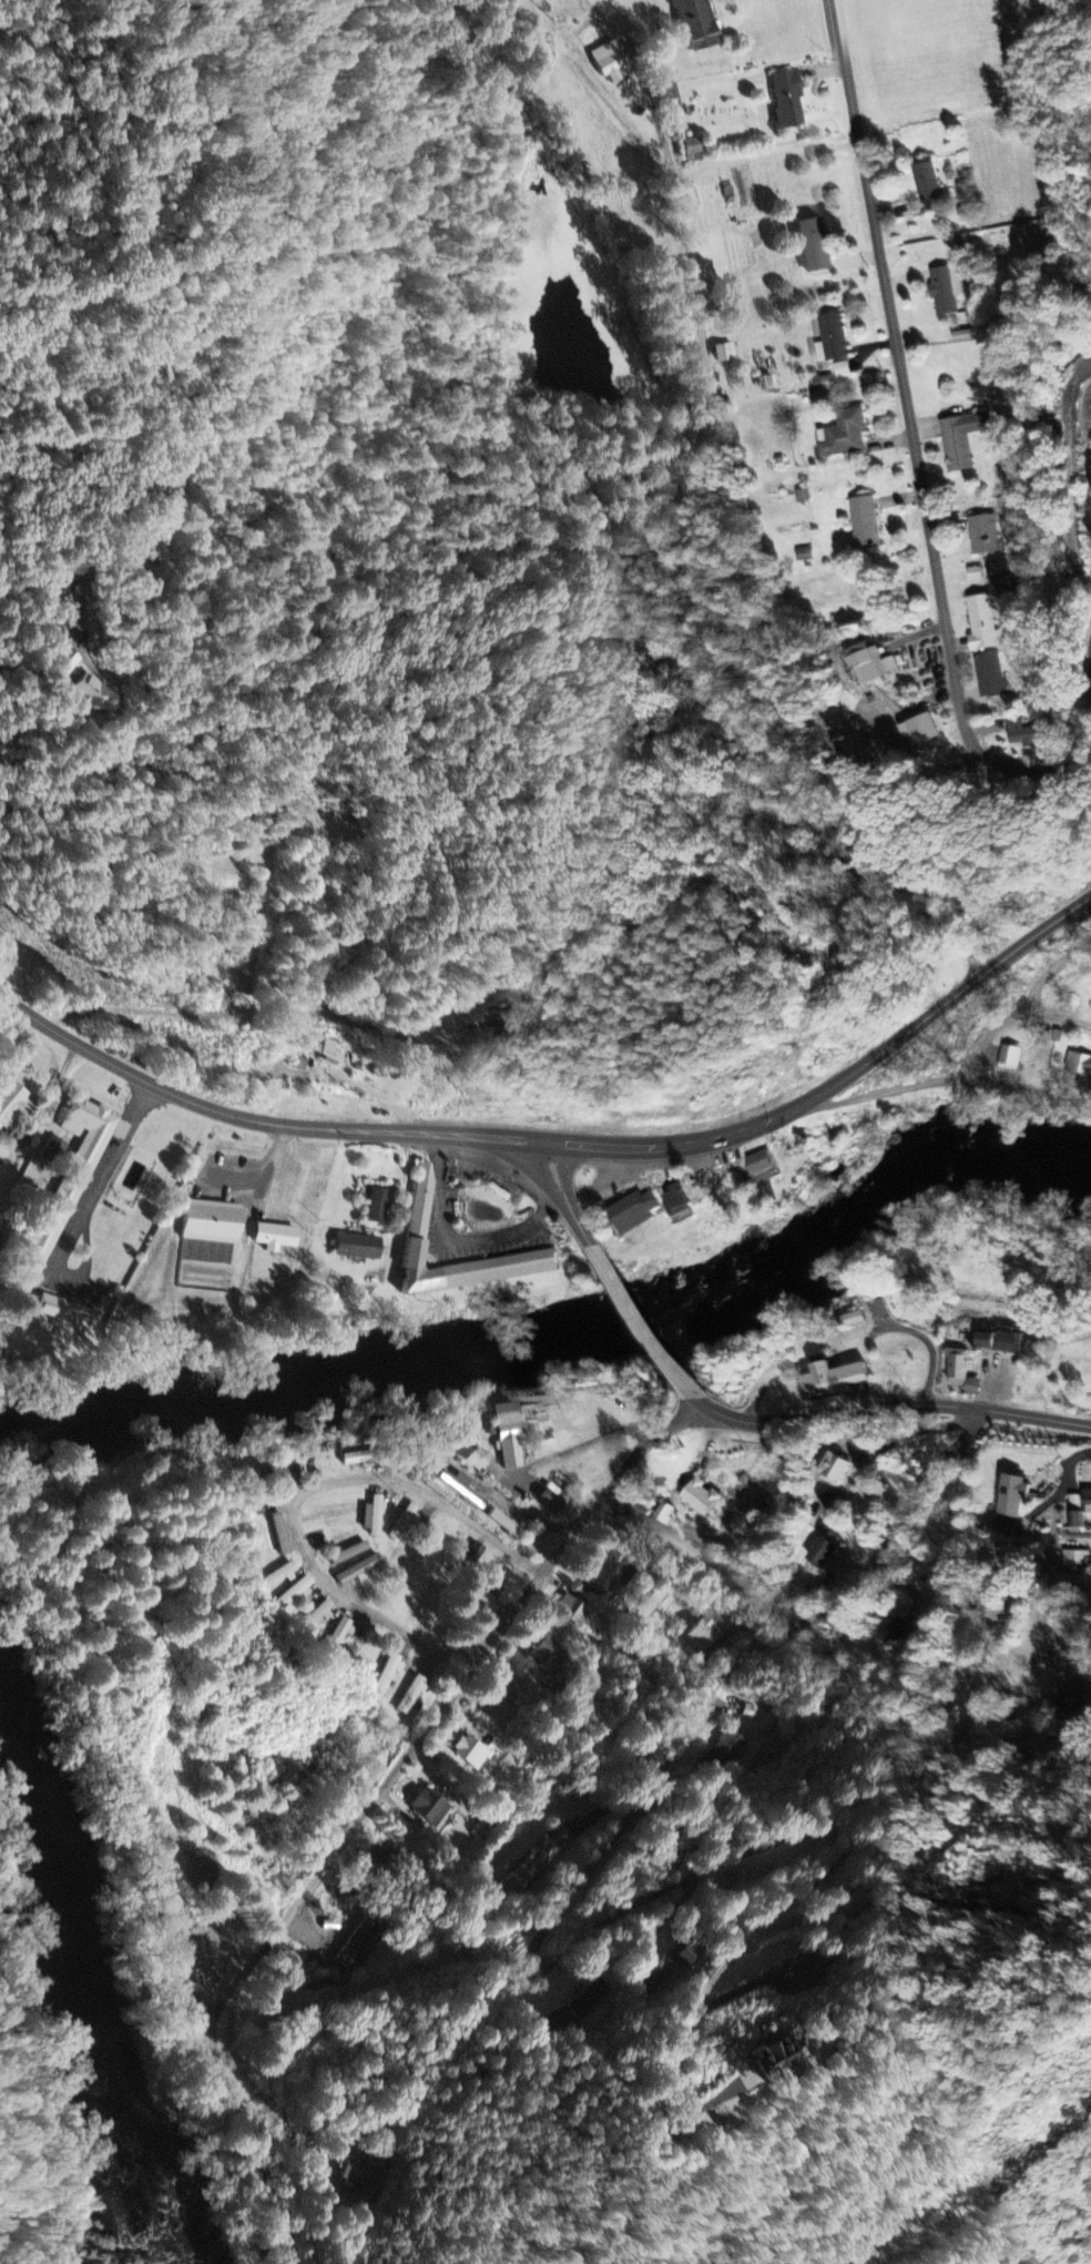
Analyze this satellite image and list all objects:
building: (694, 24)
building: (608, 62)
building: (673, 98)
building: (786, 101)
building: (692, 152)
building: (924, 183)
building: (812, 246)
building: (944, 291)
building: (960, 336)
building: (829, 339)
building: (724, 354)
building: (840, 370)
building: (840, 436)
building: (959, 440)
building: (1069, 450)
road: (912, 453)
building: (799, 497)
building: (861, 524)
building: (981, 535)
building: (803, 556)
park: (137, 560)
building: (972, 573)
building: (981, 625)
road: (1089, 657)
building: (64, 662)
building: (867, 664)
building: (989, 677)
building: (91, 697)
building: (918, 730)
building: (1023, 730)
building: (843, 962)
road: (1022, 1004)
road: (1056, 1016)
building: (480, 1021)
building: (333, 1052)
building: (1007, 1058)
building: (1077, 1066)
road: (945, 1076)
building: (10, 1104)
road: (567, 1143)
building: (53, 1150)
building: (758, 1167)
building: (69, 1179)
road: (558, 1190)
building: (673, 1200)
building: (376, 1207)
building: (418, 1212)
building: (630, 1214)
road: (84, 1216)
building: (207, 1222)
building: (273, 1238)
building: (355, 1248)
building: (901, 1293)
building: (65, 1313)
road: (634, 1313)
river: (568, 1320)
building: (849, 1320)
building: (997, 1342)
building: (957, 1371)
building: (827, 1378)
road: (692, 1397)
road: (893, 1404)
building: (507, 1435)
road: (585, 1440)
building: (460, 1444)
building: (434, 1470)
building: (829, 1470)
building: (286, 1472)
building: (460, 1490)
road: (304, 1491)
building: (697, 1496)
building: (1008, 1496)
building: (1084, 1498)
building: (550, 1502)
building: (662, 1513)
building: (371, 1517)
building: (401, 1523)
building: (504, 1525)
building: (278, 1535)
building: (818, 1553)
building: (347, 1554)
road: (1043, 1557)
building: (1072, 1559)
building: (277, 1576)
building: (610, 1577)
building: (294, 1594)
building: (482, 1603)
building: (572, 1612)
building: (317, 1616)
building: (903, 1630)
building: (705, 1635)
building: (337, 1637)
building: (550, 1651)
building: (1065, 1659)
building: (386, 1676)
building: (412, 1696)
building: (728, 1748)
road: (564, 1752)
road: (410, 1753)
building: (470, 1755)
building: (429, 1809)
building: (533, 1870)
road: (621, 1912)
river: (98, 1952)
building: (686, 1956)
building: (810, 1972)
building: (592, 1999)
building: (777, 2058)
railway: (35, 2140)
building: (356, 2173)

